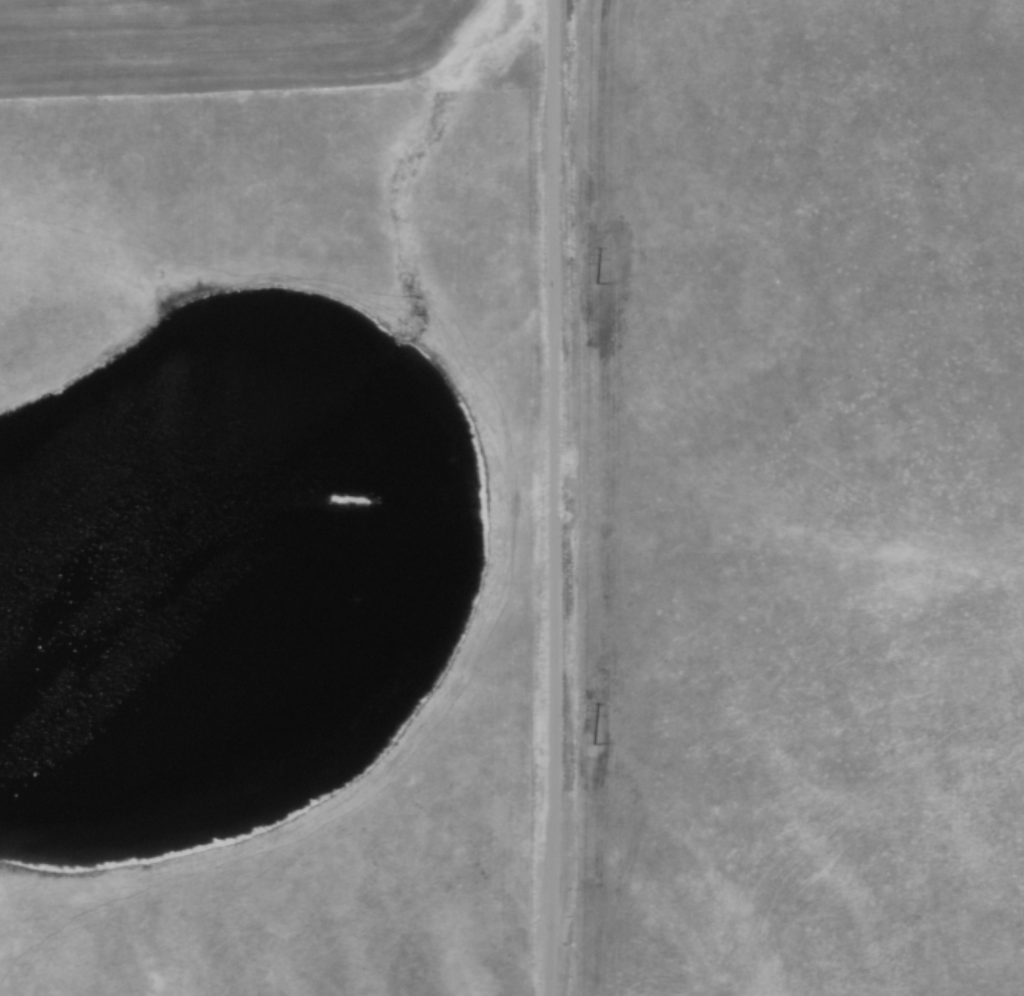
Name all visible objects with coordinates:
power tower: (597, 282)
road: (556, 509)
power tower: (593, 743)

